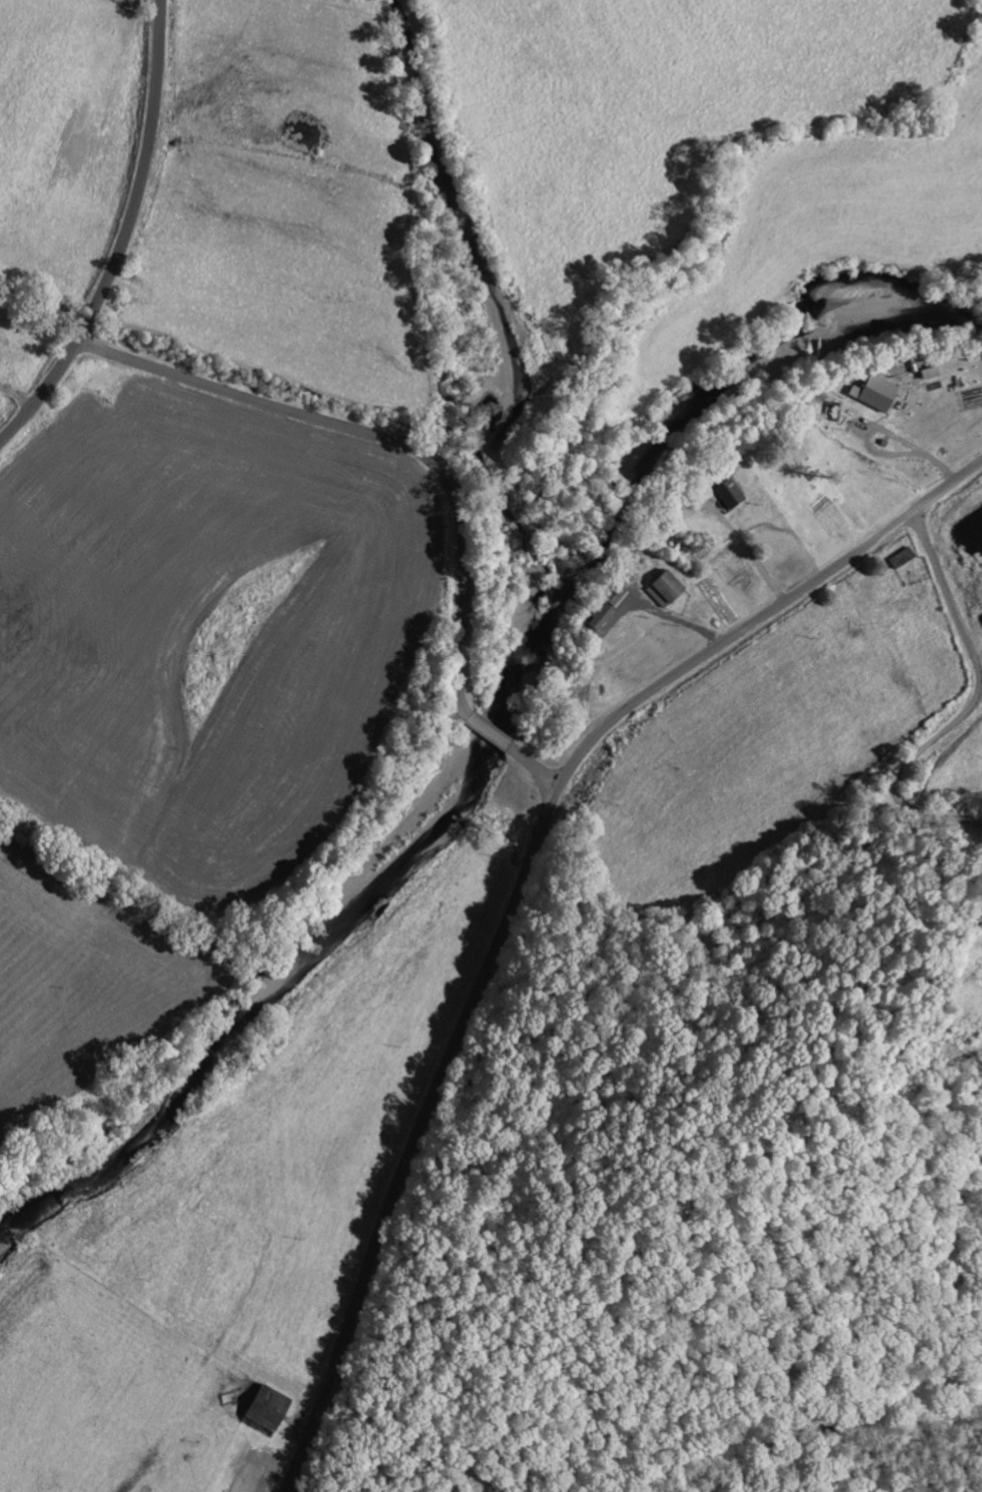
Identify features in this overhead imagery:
road: (122, 235)
building: (875, 392)
road: (431, 465)
building: (729, 492)
building: (662, 591)
road: (518, 888)
building: (270, 1408)

